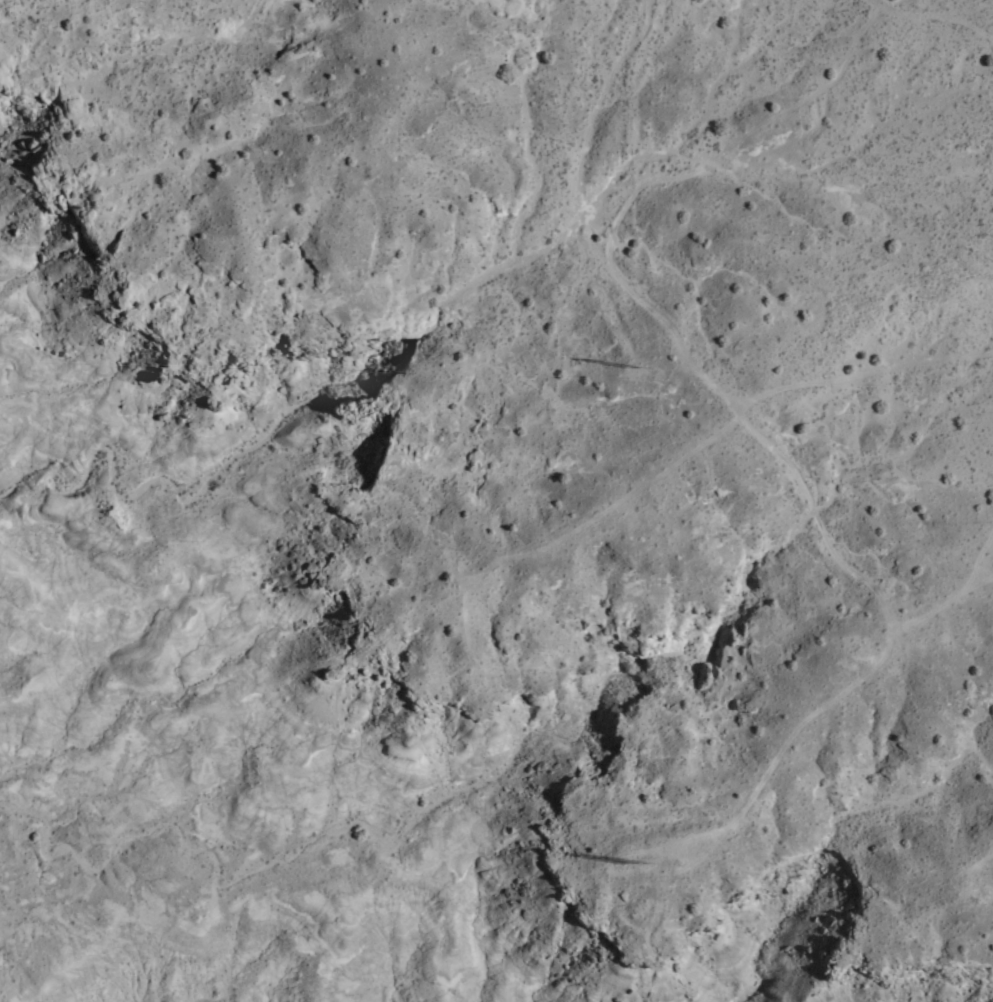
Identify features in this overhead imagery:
power tower: (633, 366)
power tower: (635, 861)

